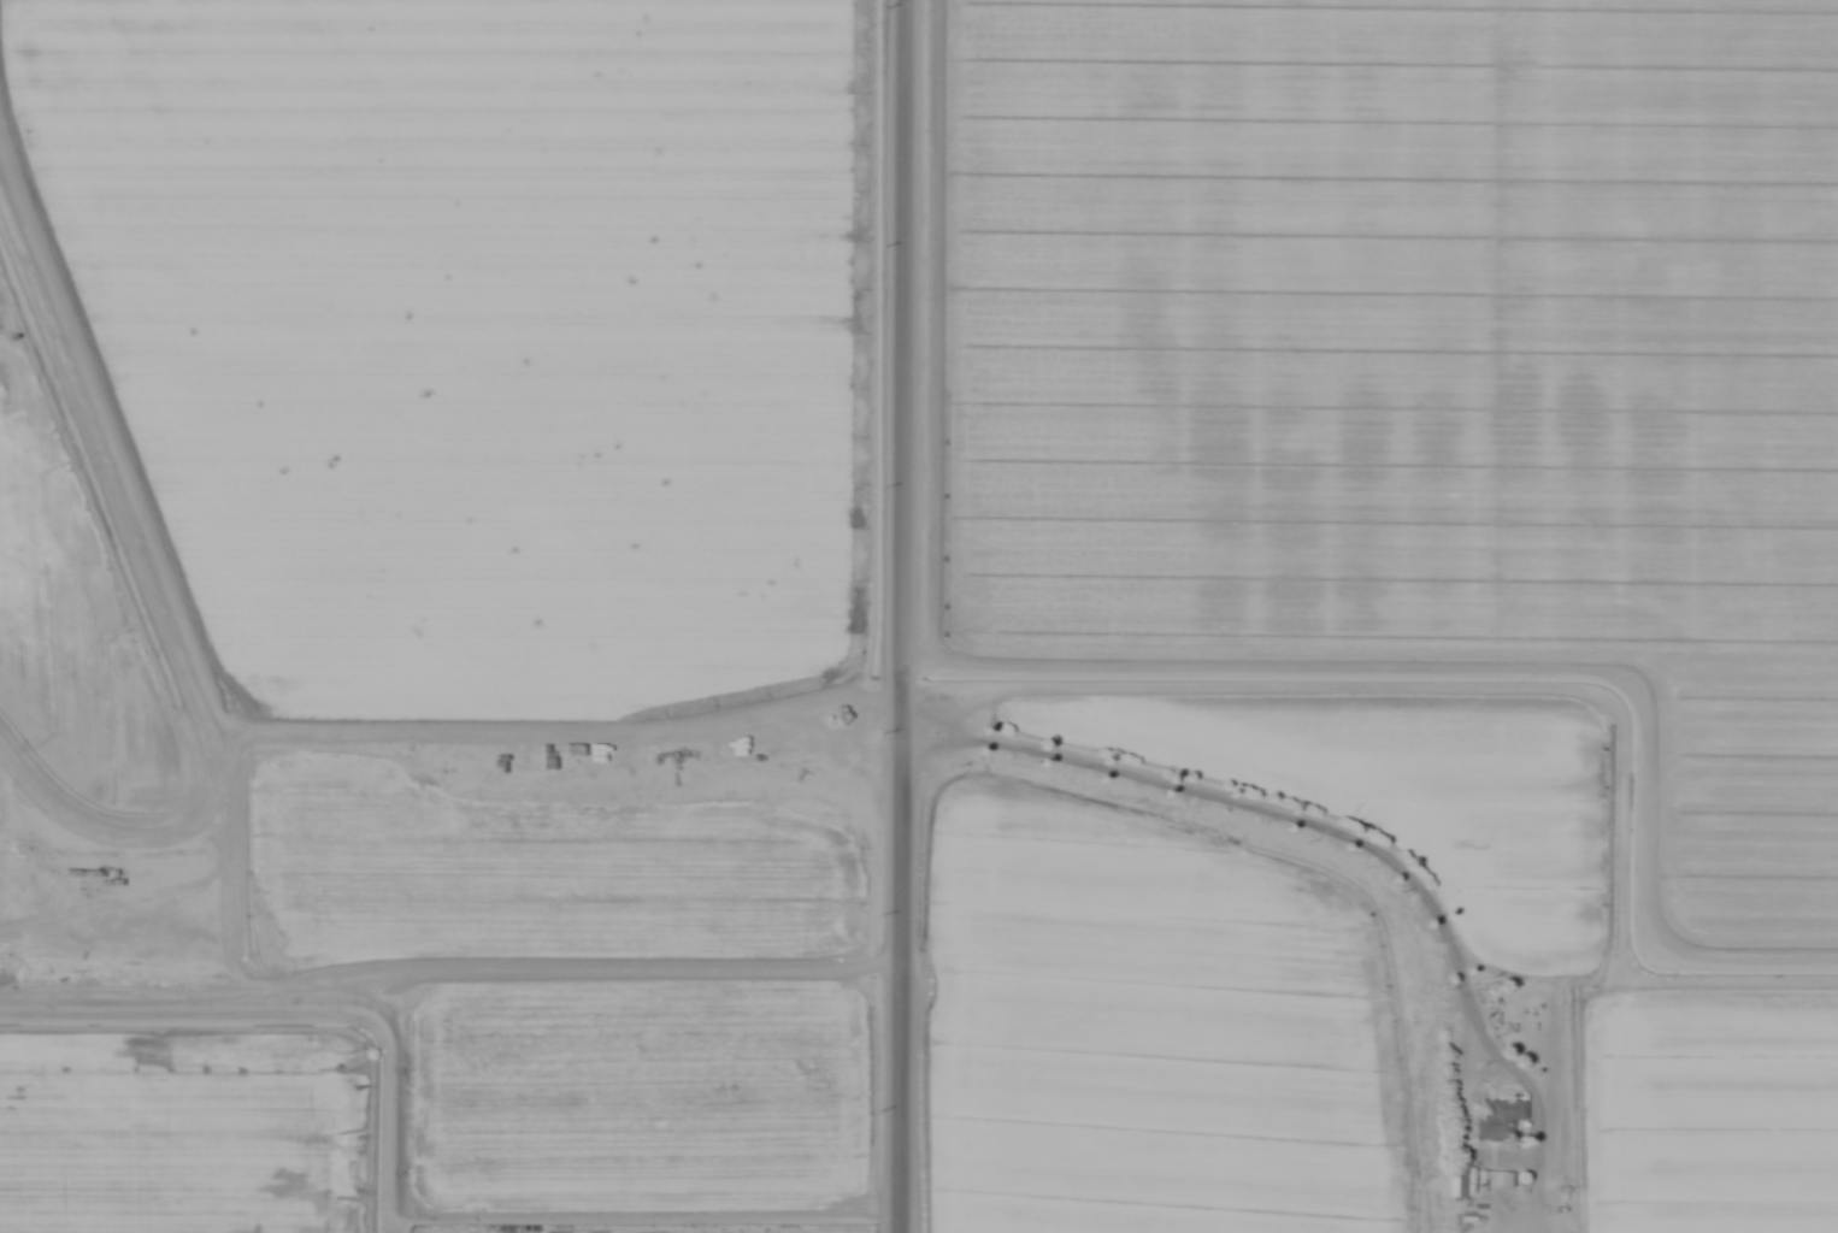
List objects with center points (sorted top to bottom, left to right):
road: (915, 615)
building: (1501, 1119)
building: (1473, 1182)

